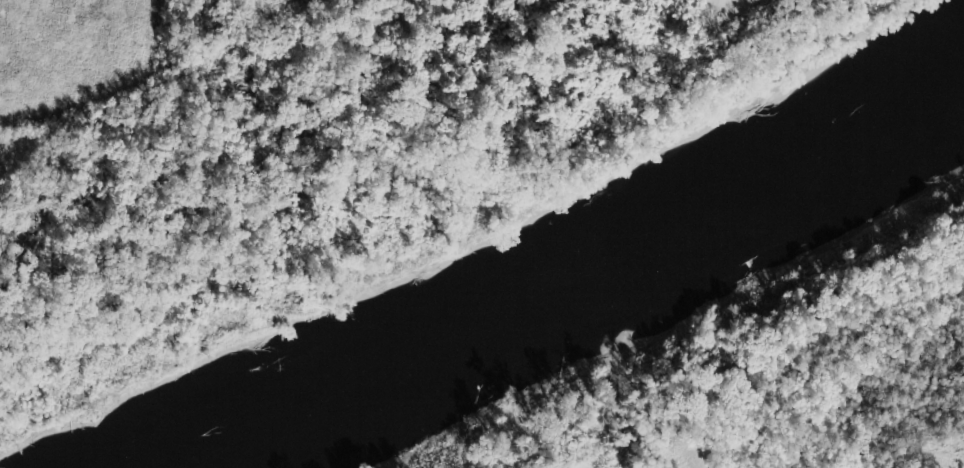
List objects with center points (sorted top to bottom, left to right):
river: (575, 289)

